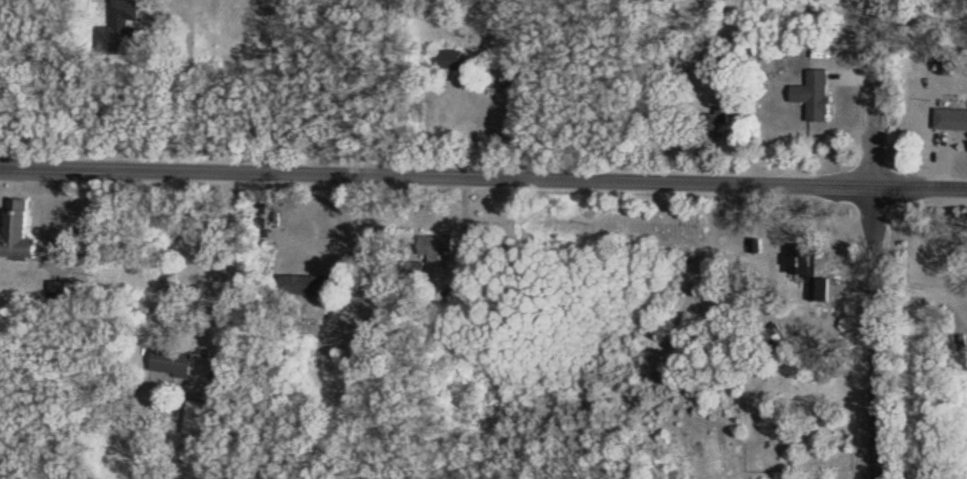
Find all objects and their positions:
building: (125, 30)
building: (455, 61)
building: (504, 79)
road: (192, 90)
building: (820, 97)
building: (722, 118)
building: (953, 121)
road: (483, 178)
building: (263, 218)
building: (21, 233)
road: (872, 239)
building: (439, 247)
building: (805, 261)
road: (213, 262)
building: (311, 285)
building: (823, 290)
road: (914, 292)
road: (961, 294)
road: (960, 306)
building: (175, 363)
building: (206, 419)

